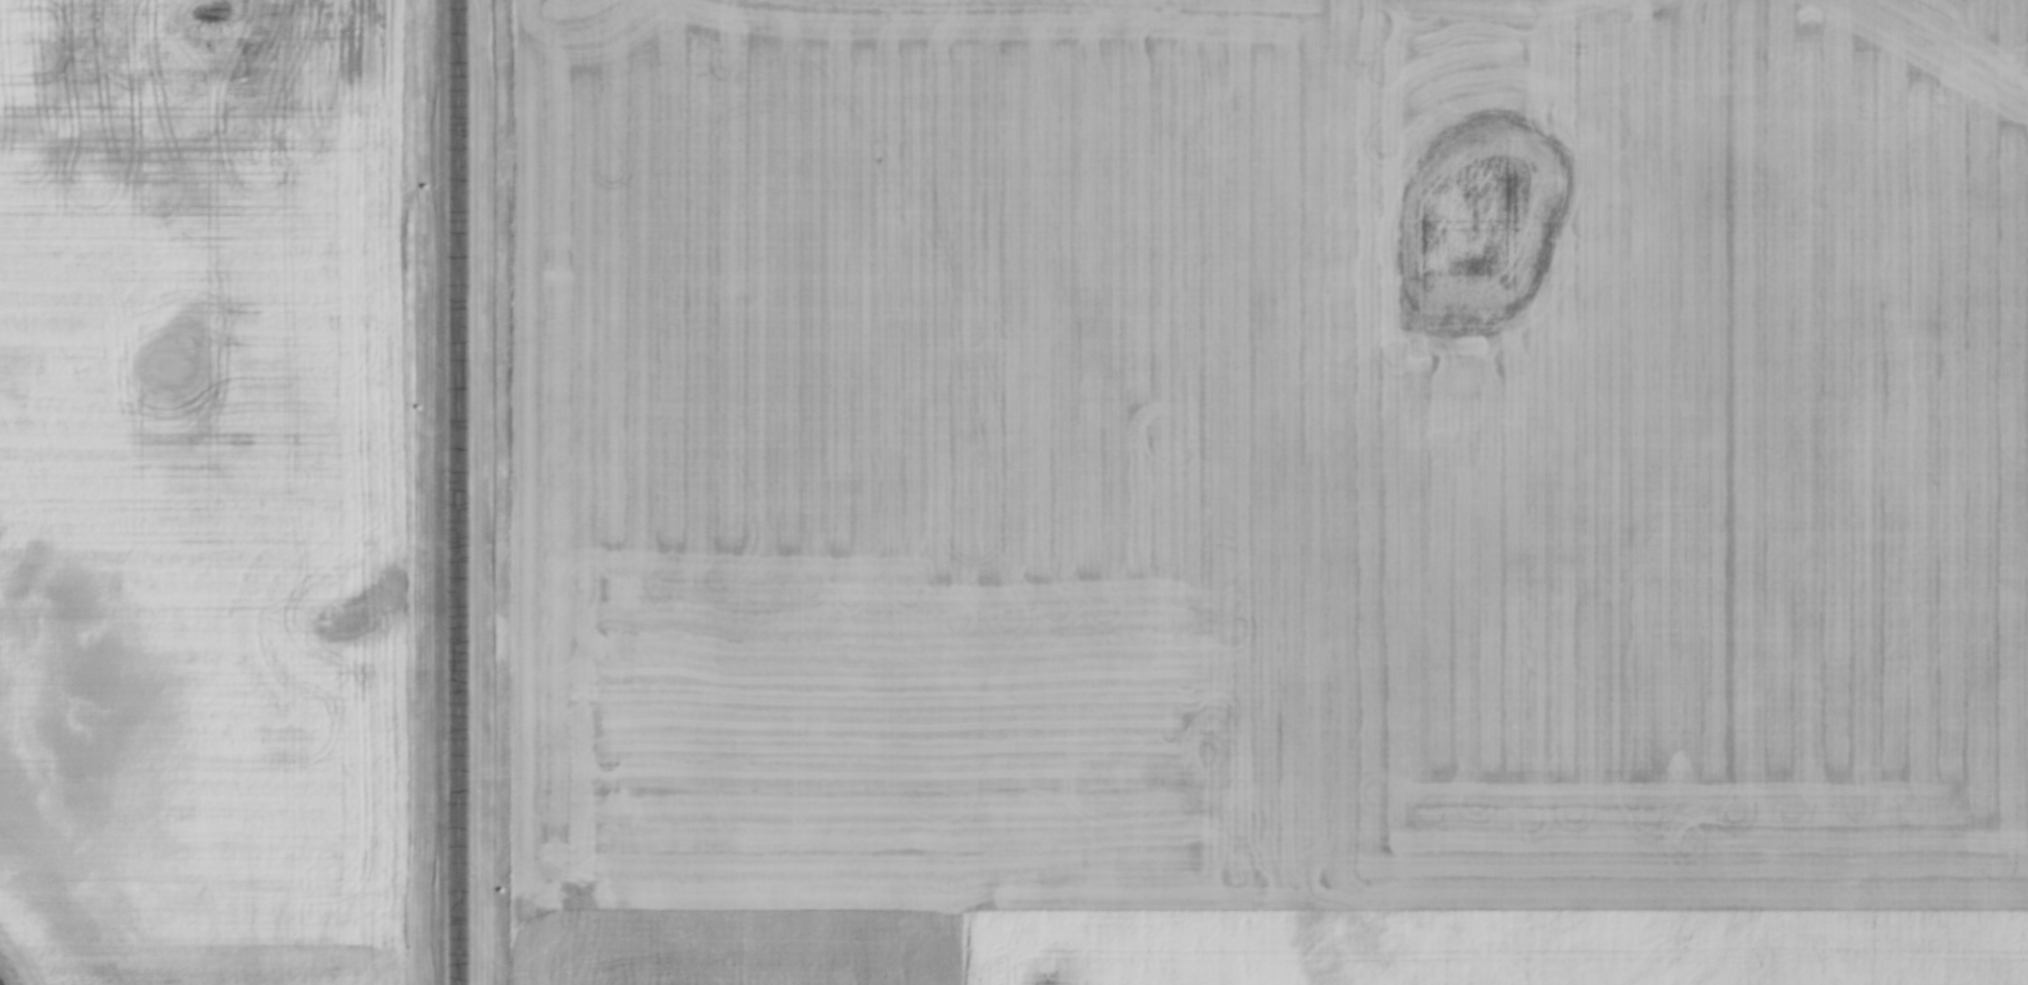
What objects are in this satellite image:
road: (458, 492)

